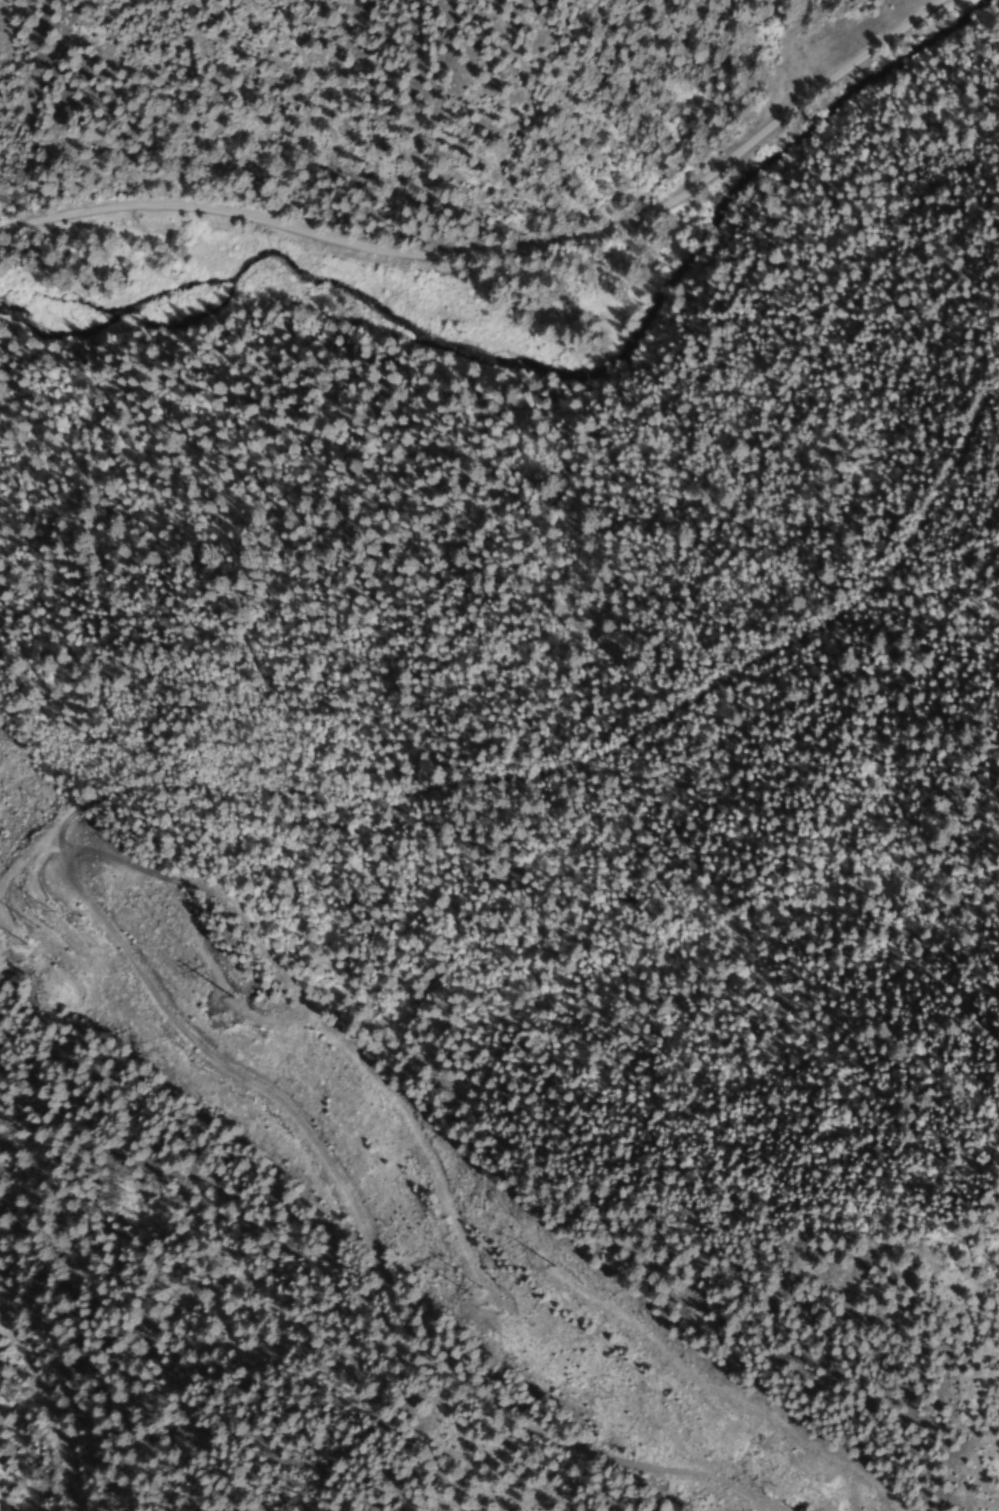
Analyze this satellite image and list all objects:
road: (499, 252)
power tower: (30, 926)
power tower: (473, 1289)
road: (50, 1401)

